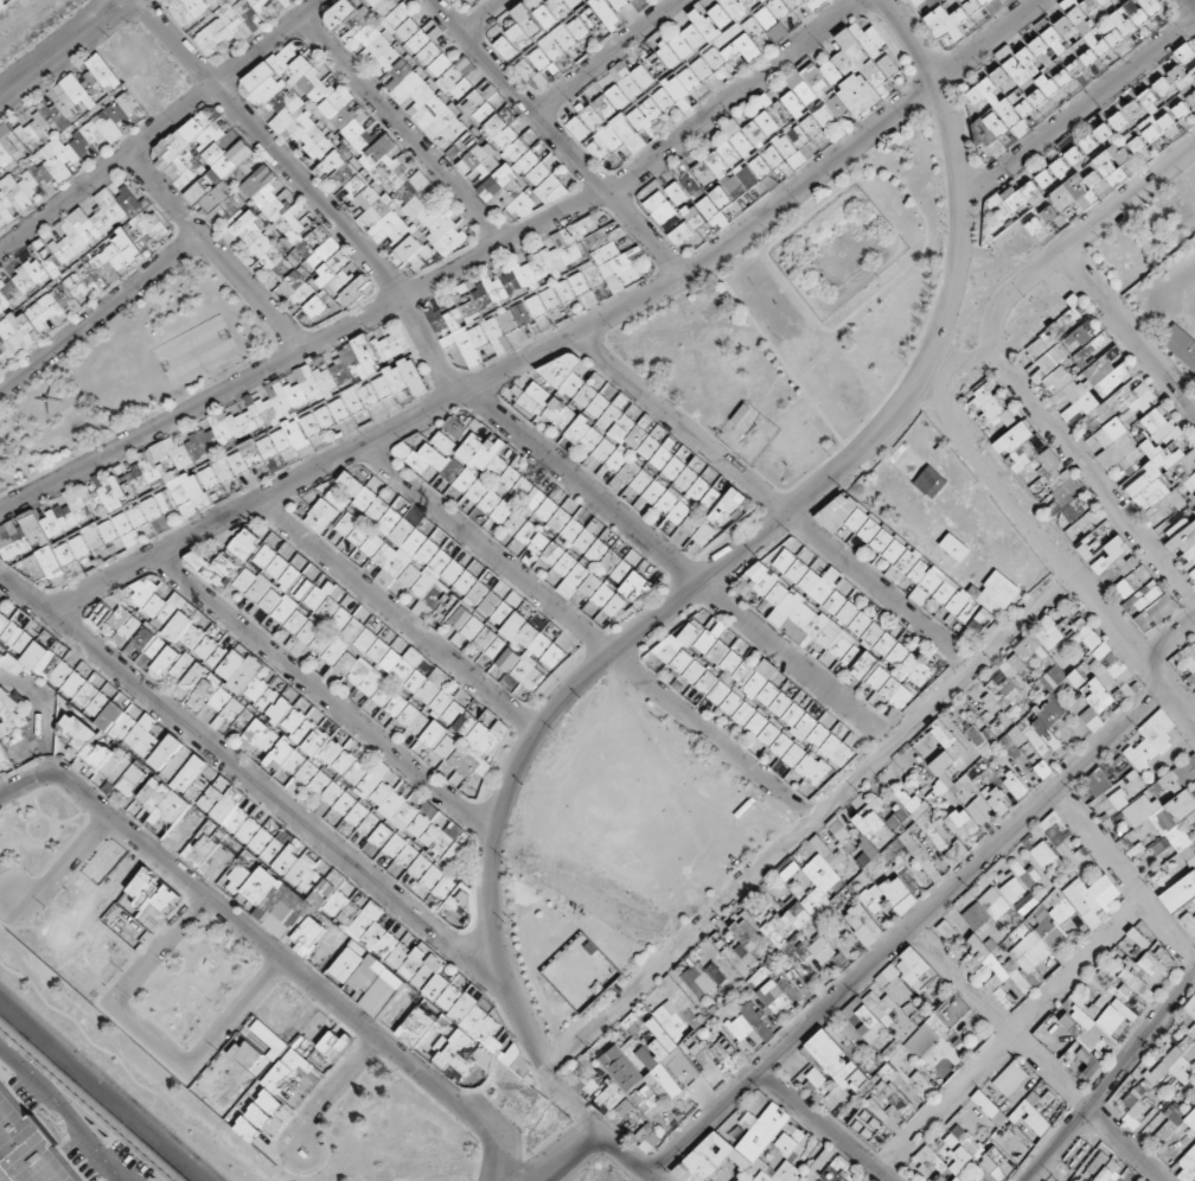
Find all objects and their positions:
park: (839, 250)

